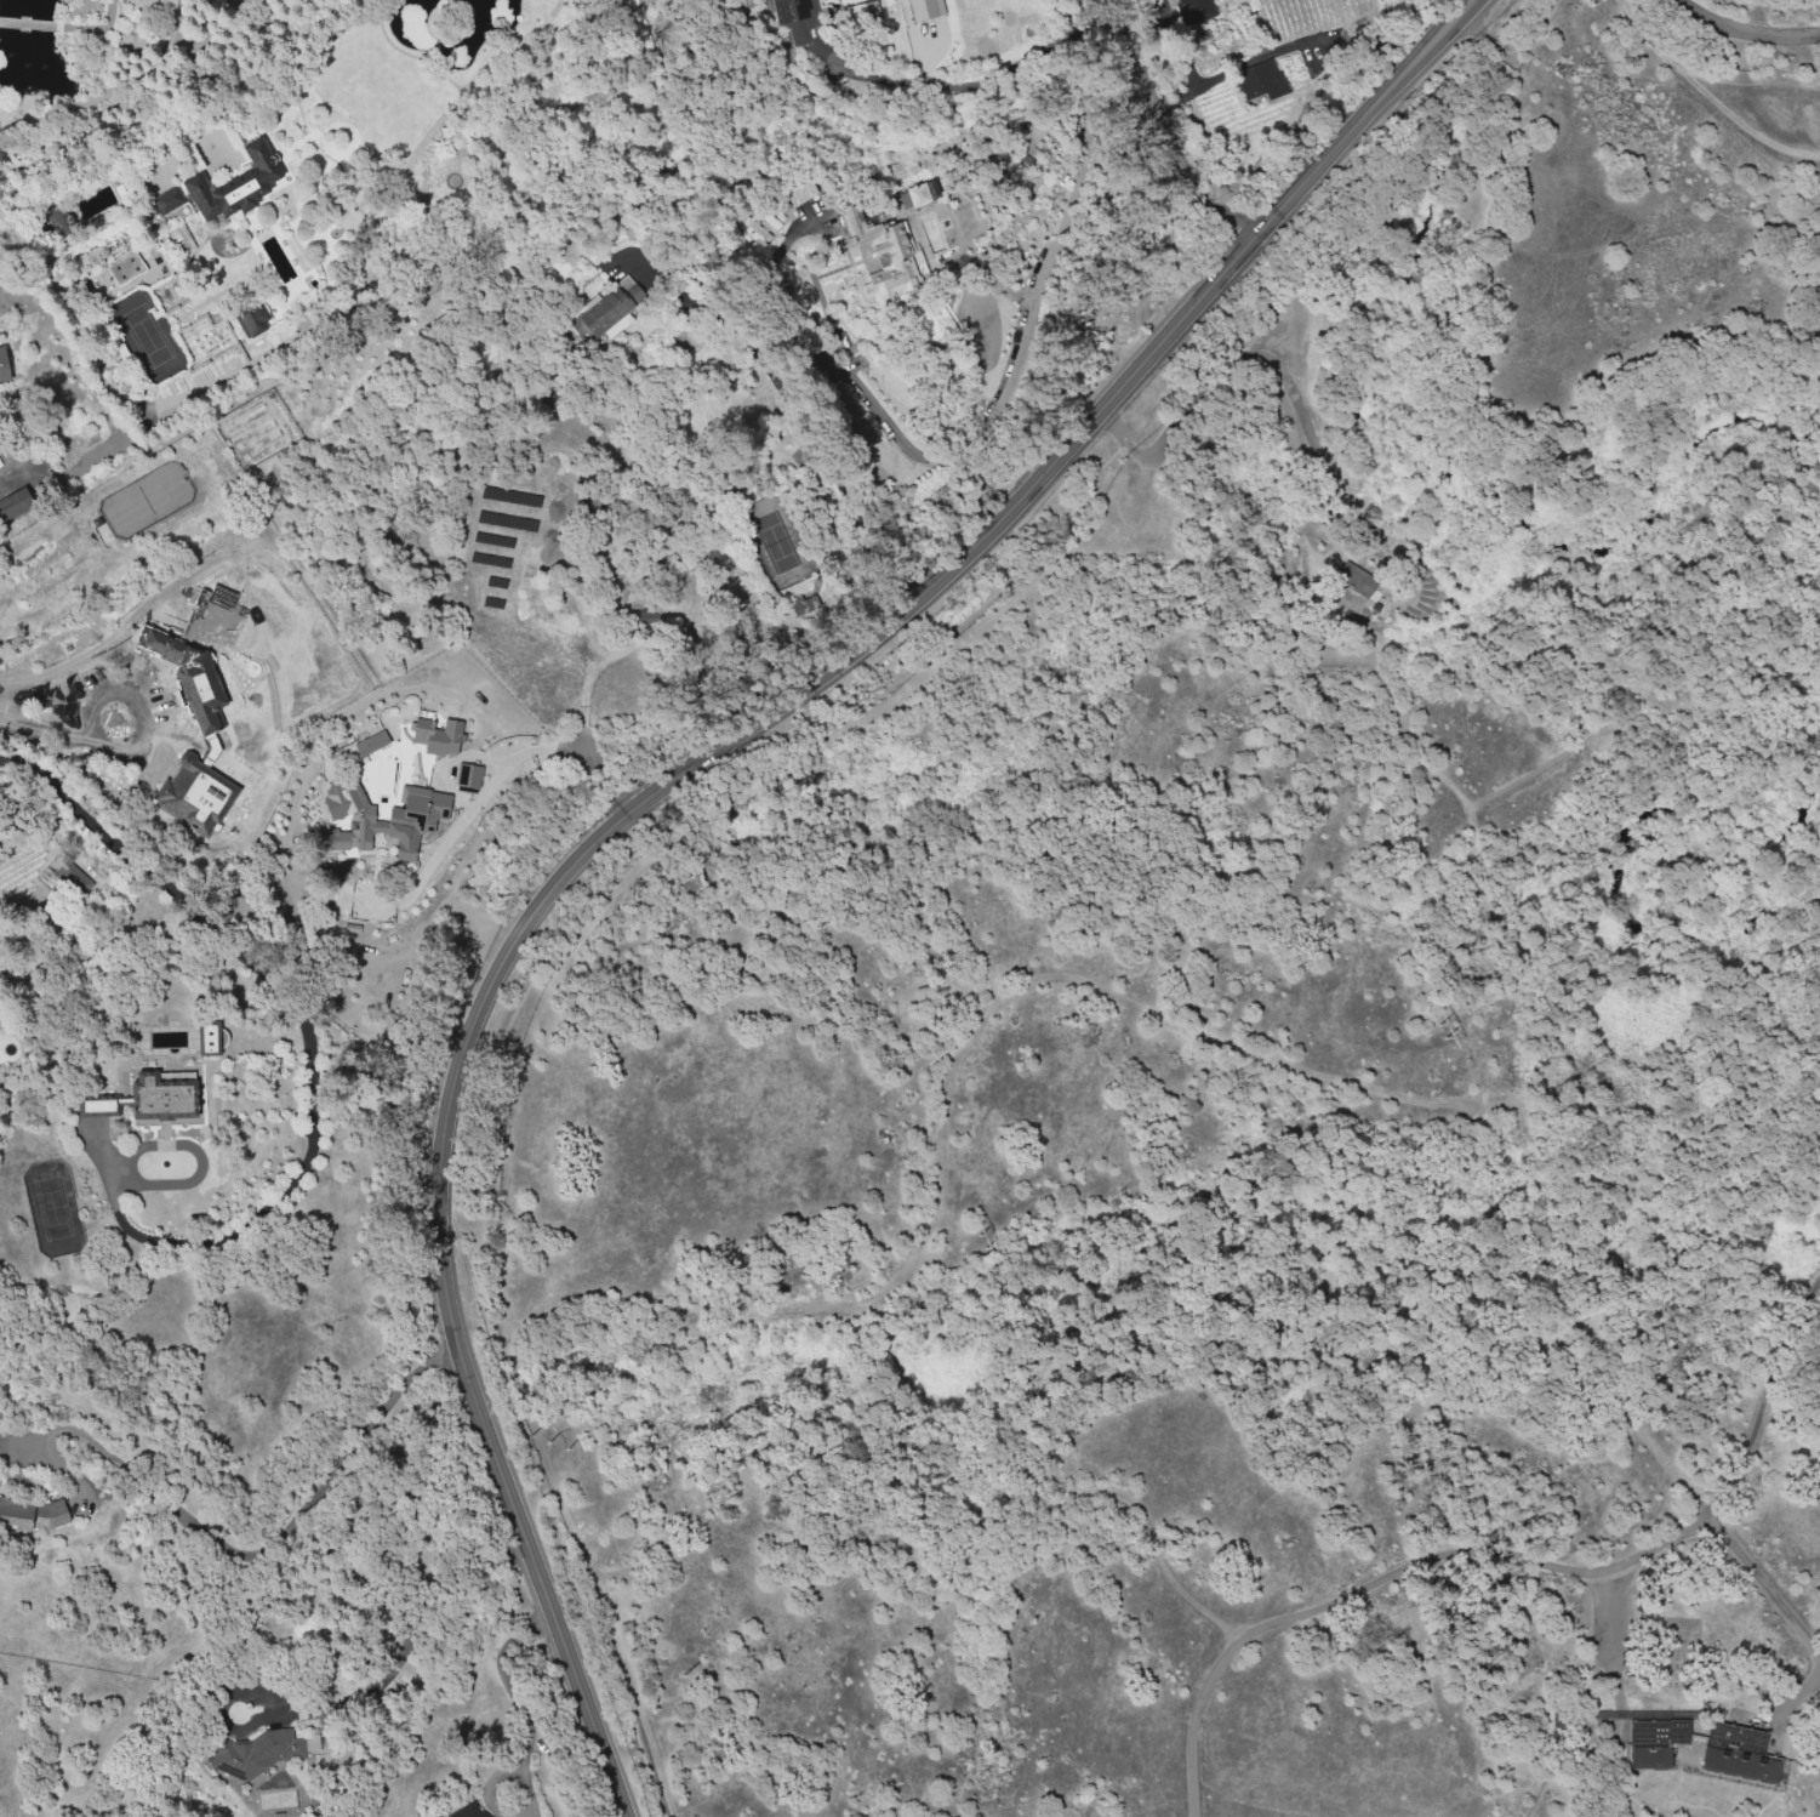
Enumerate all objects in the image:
building: (925, 8)
building: (1196, 10)
building: (865, 11)
building: (795, 22)
road: (1746, 30)
road: (987, 65)
building: (1261, 82)
road: (1708, 97)
road: (1510, 103)
road: (108, 112)
road: (1166, 126)
building: (235, 183)
building: (798, 192)
building: (914, 196)
building: (167, 201)
building: (59, 218)
building: (752, 232)
road: (1599, 247)
building: (889, 251)
building: (126, 269)
road: (768, 297)
road: (846, 303)
building: (603, 315)
building: (252, 318)
road: (1021, 341)
road: (1266, 355)
building: (4, 368)
road: (794, 409)
building: (13, 503)
building: (1360, 585)
building: (183, 683)
road: (148, 707)
building: (435, 735)
building: (370, 742)
building: (467, 775)
road: (496, 776)
road: (603, 779)
road: (656, 788)
building: (195, 796)
building: (380, 819)
building: (72, 878)
road: (1535, 982)
building: (207, 1041)
building: (149, 1100)
building: (97, 1105)
road: (1763, 1406)
building: (32, 1517)
road: (1462, 1554)
road: (239, 1555)
building: (363, 1587)
building: (341, 1613)
road: (1610, 1639)
parking lot: (1610, 1642)
building: (1702, 1749)
building: (257, 1755)
building: (469, 1812)

